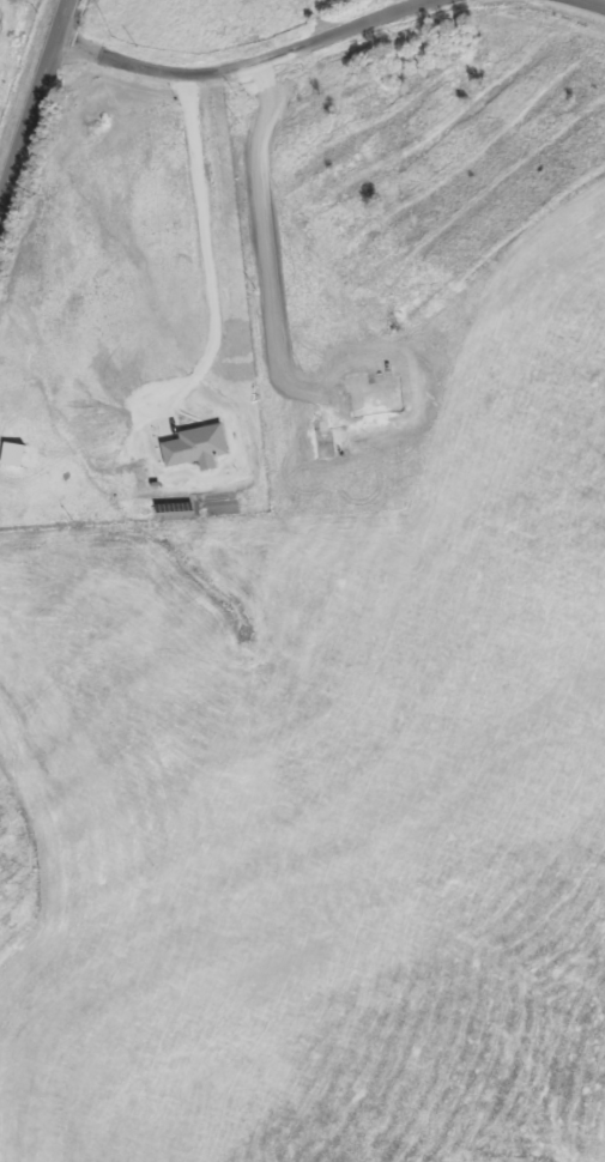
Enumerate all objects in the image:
road: (582, 7)
road: (243, 68)
road: (31, 101)
road: (210, 299)
building: (193, 446)
building: (10, 453)

